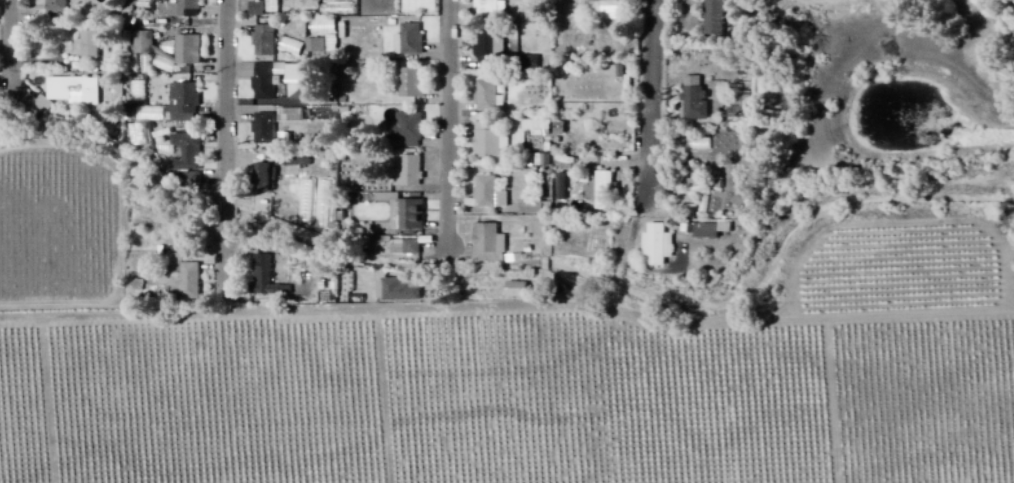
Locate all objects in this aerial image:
building: (60, 8)
building: (490, 8)
building: (183, 10)
building: (260, 10)
building: (605, 11)
building: (714, 17)
building: (267, 42)
building: (410, 42)
road: (15, 45)
building: (146, 45)
building: (93, 47)
building: (317, 47)
building: (490, 49)
building: (191, 52)
building: (532, 65)
building: (301, 81)
building: (412, 84)
building: (76, 92)
road: (649, 92)
building: (489, 97)
building: (694, 99)
building: (187, 104)
building: (293, 117)
road: (453, 123)
building: (538, 129)
building: (267, 130)
building: (407, 131)
building: (490, 142)
road: (228, 146)
building: (191, 154)
building: (269, 179)
building: (193, 181)
building: (603, 184)
building: (701, 186)
building: (488, 196)
building: (532, 209)
building: (404, 213)
building: (704, 231)
building: (489, 245)
building: (658, 246)
building: (268, 280)
building: (188, 281)
building: (401, 291)
road: (507, 310)

